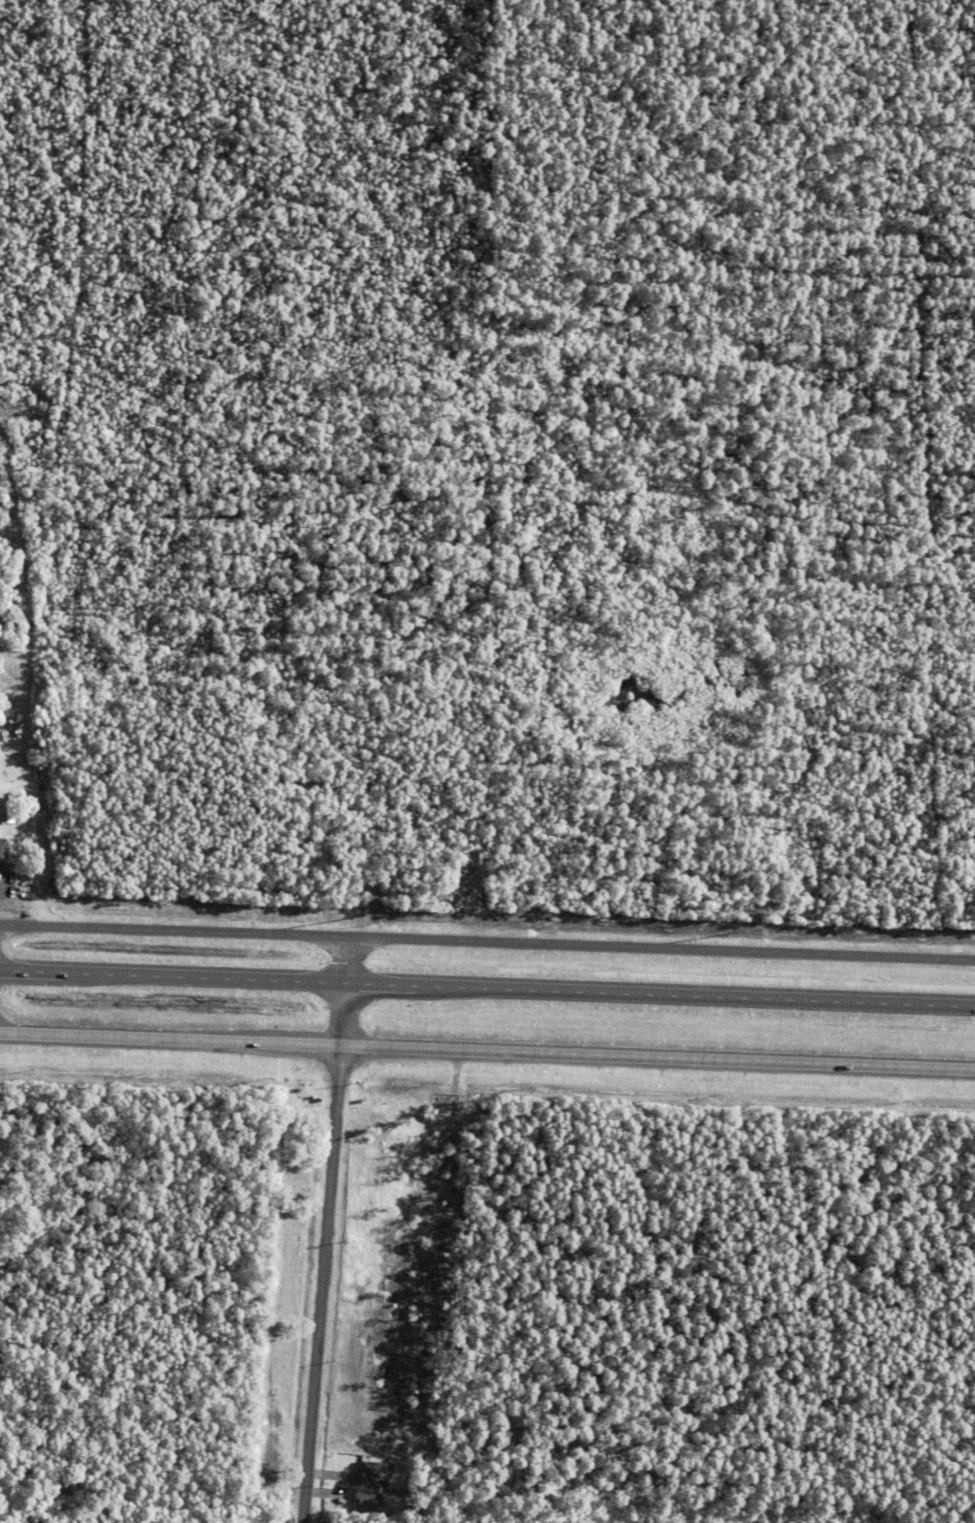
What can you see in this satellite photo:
building: (4, 773)
building: (7, 816)
building: (2, 853)
road: (487, 942)
road: (487, 988)
road: (487, 1054)
road: (326, 1230)
building: (373, 1473)
building: (367, 1501)

